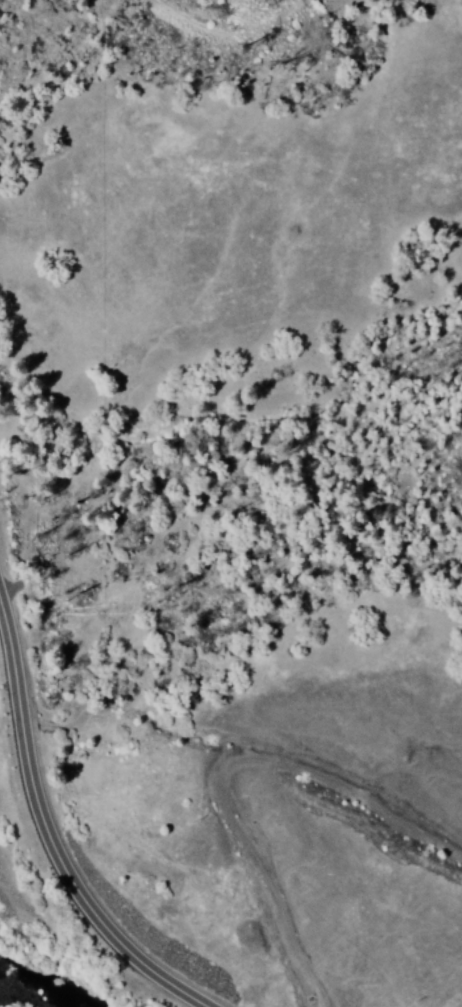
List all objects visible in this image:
road: (46, 802)
river: (69, 975)

